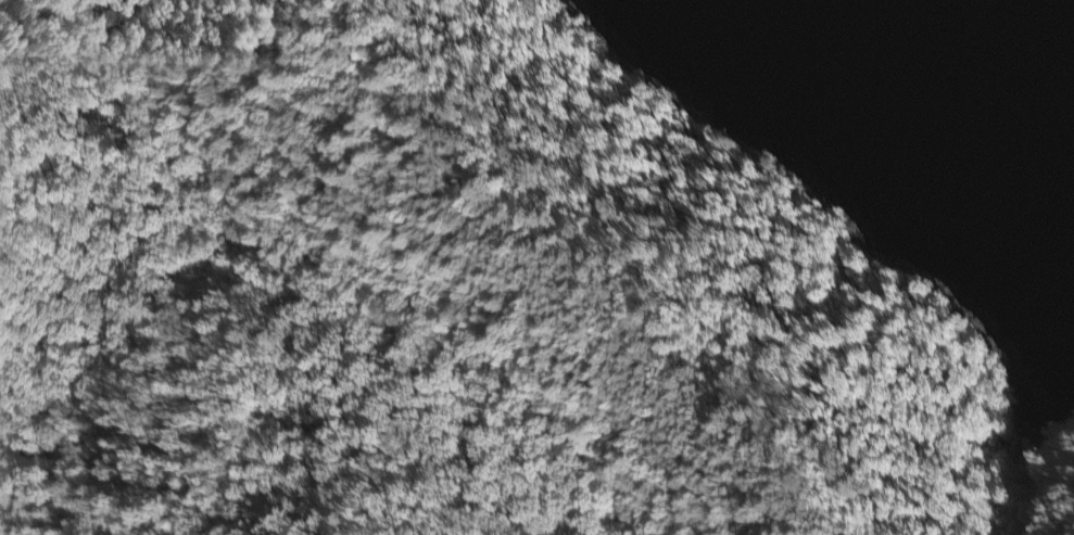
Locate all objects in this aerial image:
river: (1054, 17)

